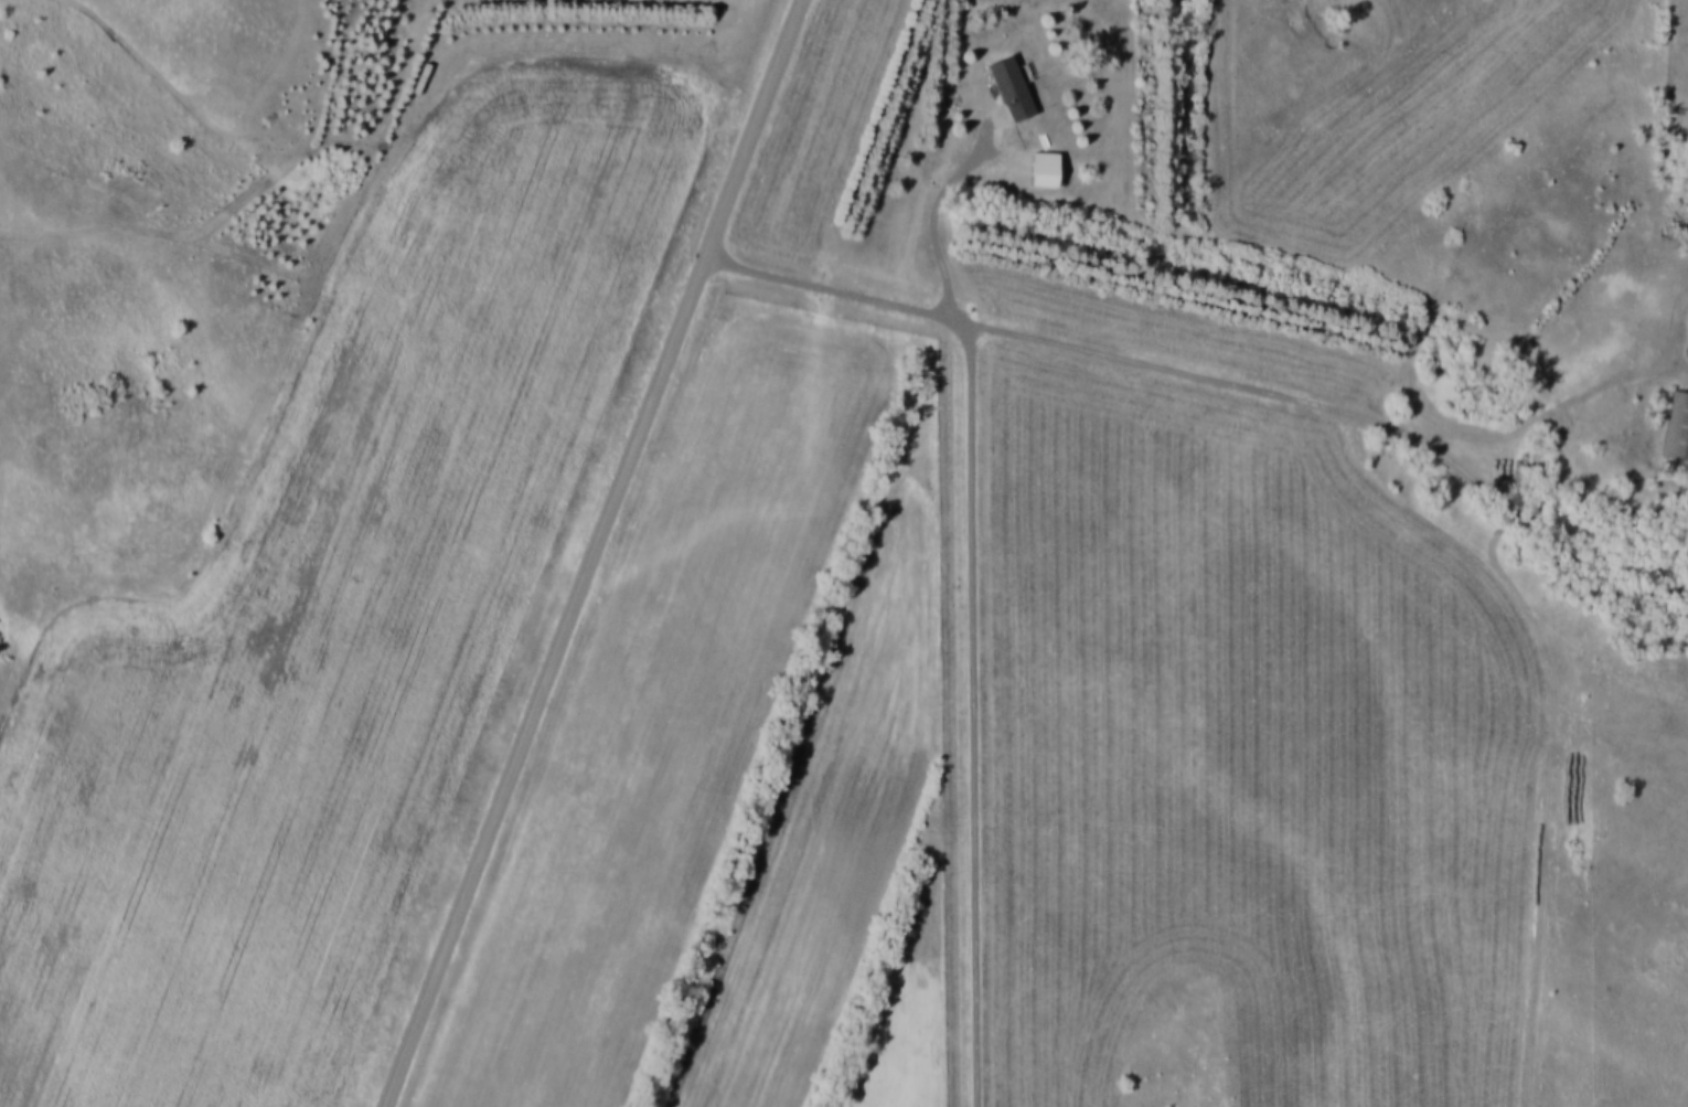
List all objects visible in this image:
building: (1011, 88)
building: (1046, 169)
road: (929, 206)
road: (1221, 386)
building: (1677, 427)
road: (596, 553)

